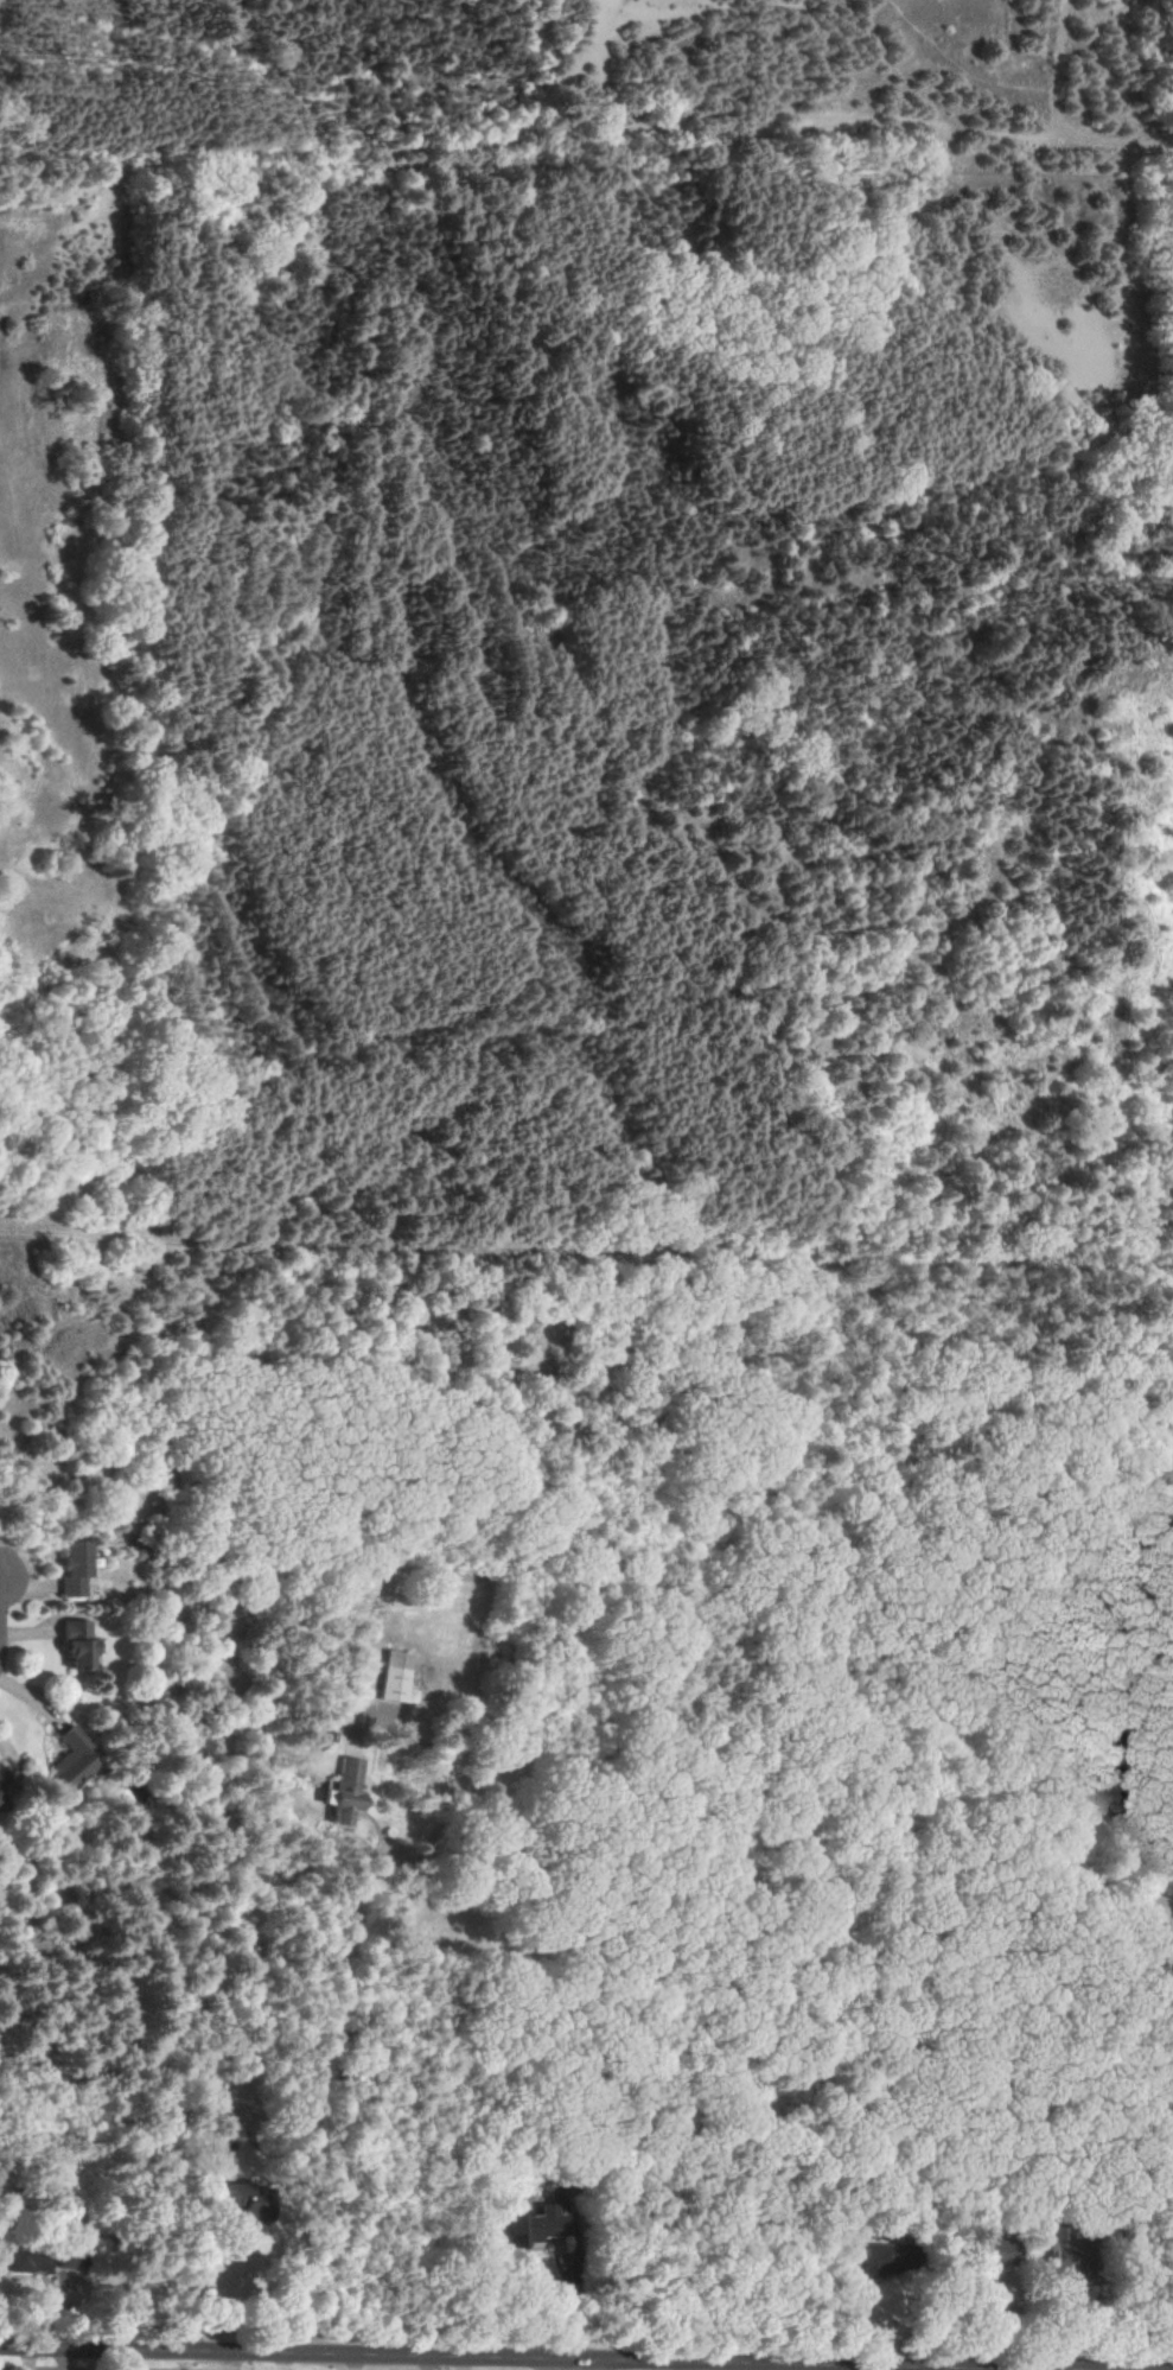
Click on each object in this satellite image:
road: (365, 61)
road: (1101, 70)
road: (476, 83)
park: (636, 103)
road: (766, 108)
road: (1067, 113)
road: (198, 141)
road: (1156, 160)
road: (1096, 729)
building: (72, 1569)
road: (592, 1616)
building: (75, 1644)
building: (395, 1678)
building: (68, 1758)
building: (4, 1780)
building: (340, 1791)
building: (0, 1811)
building: (1160, 1902)
road: (1121, 2109)
building: (243, 2198)
building: (535, 2225)
building: (70, 2256)
building: (992, 2260)
building: (28, 2261)
building: (871, 2262)
road: (198, 2269)
road: (63, 2357)
road: (470, 2357)
road: (426, 2363)
road: (576, 2366)
road: (28, 2369)

